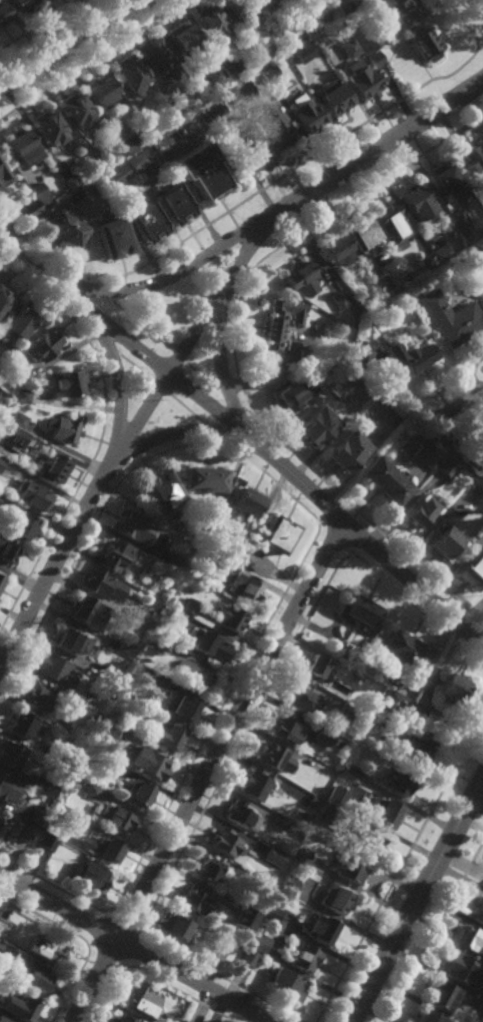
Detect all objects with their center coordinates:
building: (264, 0)
road: (481, 1)
building: (276, 3)
building: (18, 5)
building: (342, 6)
building: (233, 9)
building: (394, 10)
building: (2, 14)
road: (463, 21)
road: (38, 24)
building: (210, 24)
building: (180, 39)
building: (365, 39)
building: (289, 40)
building: (423, 43)
road: (66, 44)
road: (480, 45)
building: (348, 49)
building: (302, 52)
building: (154, 57)
road: (91, 58)
building: (374, 59)
building: (257, 61)
building: (226, 70)
building: (268, 74)
building: (126, 76)
building: (361, 81)
building: (198, 85)
building: (242, 92)
building: (99, 95)
building: (333, 98)
building: (71, 111)
building: (211, 112)
building: (305, 116)
building: (274, 125)
building: (146, 126)
building: (43, 128)
building: (125, 143)
building: (18, 144)
building: (481, 144)
building: (254, 148)
building: (89, 154)
building: (139, 157)
building: (481, 160)
building: (201, 168)
building: (147, 170)
building: (473, 170)
road: (285, 173)
building: (3, 175)
building: (113, 175)
building: (70, 180)
building: (448, 180)
building: (34, 189)
building: (482, 196)
building: (172, 201)
building: (417, 201)
building: (27, 207)
building: (458, 218)
building: (144, 220)
building: (393, 224)
building: (61, 225)
road: (301, 231)
building: (363, 232)
building: (111, 235)
building: (337, 247)
building: (441, 252)
road: (44, 255)
building: (473, 257)
building: (428, 260)
building: (301, 277)
road: (165, 280)
building: (383, 282)
road: (98, 290)
building: (4, 295)
road: (76, 295)
building: (352, 298)
building: (339, 300)
building: (451, 316)
building: (20, 319)
road: (138, 324)
building: (281, 330)
road: (194, 331)
road: (220, 335)
building: (43, 343)
building: (360, 354)
road: (108, 355)
road: (176, 355)
road: (98, 357)
road: (111, 360)
building: (407, 360)
road: (133, 367)
building: (22, 373)
building: (331, 373)
road: (200, 377)
building: (66, 382)
building: (343, 385)
road: (158, 386)
building: (293, 393)
building: (22, 395)
road: (465, 399)
road: (231, 400)
road: (184, 408)
road: (247, 411)
building: (370, 415)
building: (17, 419)
road: (234, 425)
building: (317, 426)
building: (62, 428)
road: (187, 432)
road: (213, 432)
building: (12, 433)
road: (100, 436)
road: (247, 436)
road: (231, 449)
building: (348, 451)
building: (425, 457)
building: (1, 463)
building: (474, 463)
building: (446, 467)
building: (52, 469)
building: (201, 479)
building: (384, 481)
building: (160, 490)
building: (473, 490)
road: (283, 491)
building: (34, 495)
building: (0, 497)
building: (244, 501)
building: (423, 510)
road: (366, 520)
building: (22, 527)
building: (131, 527)
road: (90, 530)
building: (276, 535)
building: (444, 540)
building: (159, 545)
building: (7, 552)
building: (113, 557)
building: (171, 560)
building: (213, 562)
building: (471, 572)
building: (1, 579)
building: (102, 585)
building: (244, 589)
building: (188, 606)
building: (81, 610)
building: (360, 613)
building: (171, 615)
building: (142, 618)
building: (230, 618)
building: (71, 642)
building: (209, 646)
building: (124, 647)
building: (160, 647)
building: (404, 652)
building: (341, 657)
building: (316, 669)
building: (55, 670)
building: (147, 675)
building: (109, 676)
building: (353, 677)
building: (198, 680)
building: (451, 691)
building: (39, 697)
building: (78, 697)
building: (305, 701)
building: (396, 702)
building: (74, 706)
building: (182, 707)
building: (417, 712)
building: (349, 714)
building: (383, 714)
building: (95, 717)
road: (215, 718)
building: (61, 723)
building: (287, 726)
building: (25, 727)
building: (113, 728)
building: (166, 732)
building: (323, 735)
building: (416, 749)
building: (47, 751)
building: (11, 755)
building: (273, 755)
building: (146, 760)
building: (103, 762)
building: (351, 768)
road: (208, 771)
building: (396, 780)
building: (255, 783)
building: (41, 785)
building: (9, 786)
building: (89, 789)
building: (138, 791)
building: (335, 793)
building: (314, 801)
building: (383, 810)
building: (58, 813)
building: (240, 814)
building: (37, 816)
building: (114, 816)
building: (281, 821)
building: (320, 825)
building: (24, 830)
building: (44, 840)
building: (368, 840)
building: (225, 841)
building: (100, 846)
building: (303, 855)
building: (275, 856)
building: (353, 869)
building: (210, 870)
building: (239, 873)
building: (89, 876)
building: (251, 878)
building: (288, 884)
road: (52, 886)
building: (336, 898)
road: (418, 898)
building: (193, 899)
building: (479, 910)
building: (271, 913)
building: (245, 917)
building: (2, 925)
building: (174, 925)
building: (321, 928)
building: (472, 939)
building: (258, 942)
building: (1, 944)
building: (238, 945)
building: (44, 947)
road: (136, 948)
building: (248, 957)
building: (305, 957)
building: (460, 968)
building: (34, 978)
building: (285, 982)
building: (442, 995)
building: (140, 999)
building: (21, 1006)
building: (473, 1007)
building: (428, 1016)
building: (117, 1018)
building: (4, 1019)

